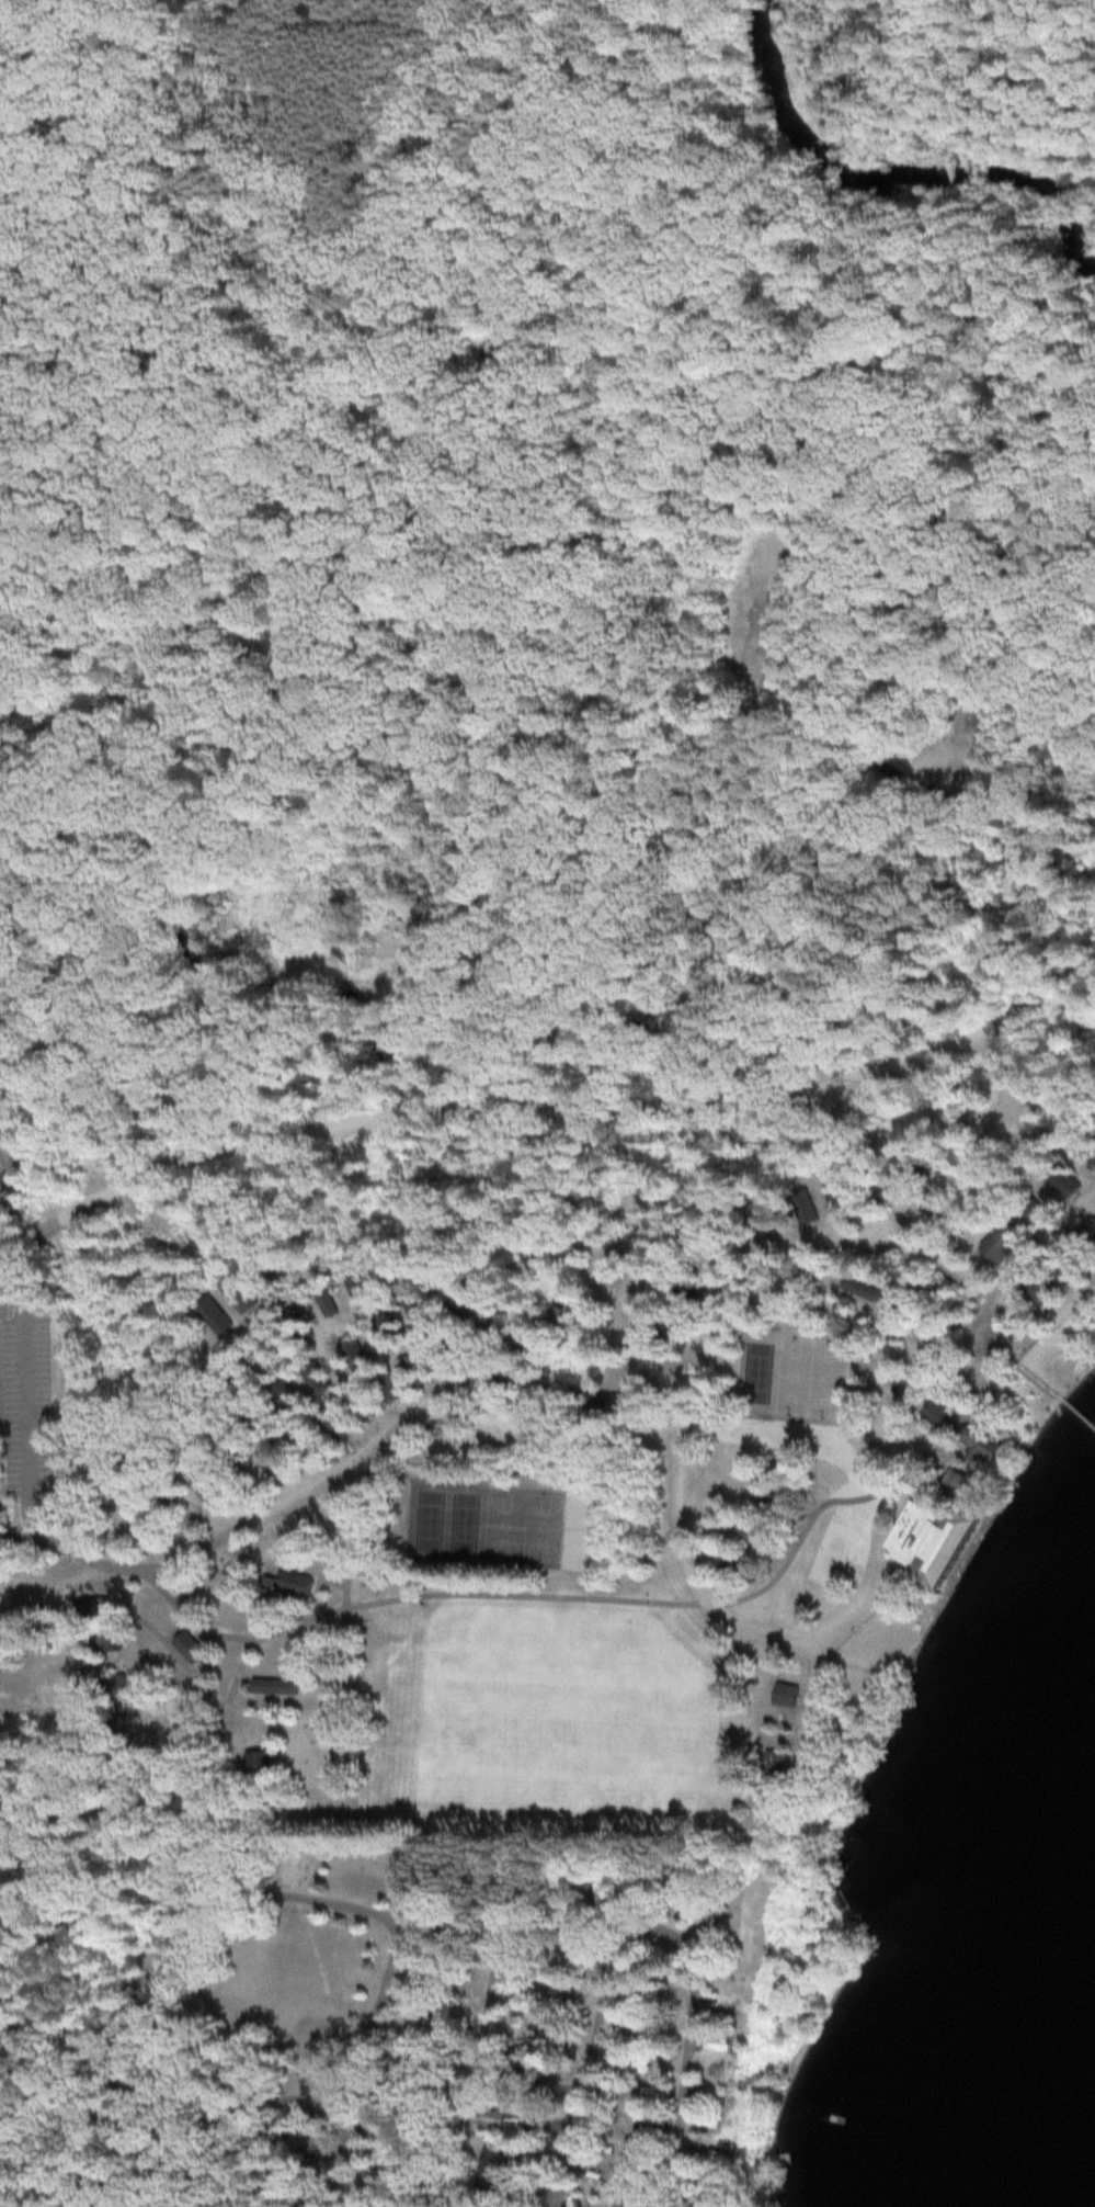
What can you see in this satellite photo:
road: (761, 273)
road: (444, 523)
road: (548, 1097)
building: (1036, 1213)
parking lot: (2, 1214)
road: (7, 1215)
building: (1090, 1233)
building: (1001, 1245)
road: (1, 1268)
building: (263, 1280)
building: (237, 1295)
building: (459, 1302)
building: (414, 1309)
building: (554, 1315)
building: (213, 1316)
building: (296, 1327)
building: (386, 1331)
building: (668, 1337)
building: (262, 1354)
building: (353, 1354)
road: (646, 1365)
building: (414, 1368)
park: (753, 1370)
park: (791, 1372)
park: (824, 1374)
building: (316, 1379)
building: (387, 1387)
building: (911, 1393)
parking lot: (28, 1396)
building: (284, 1397)
road: (528, 1400)
building: (584, 1401)
building: (357, 1402)
building: (940, 1416)
building: (255, 1419)
building: (327, 1422)
road: (23, 1425)
building: (225, 1439)
building: (301, 1444)
building: (980, 1444)
building: (765, 1504)
park: (426, 1515)
park: (463, 1516)
park: (503, 1520)
park: (543, 1524)
park: (580, 1526)
building: (931, 1531)
road: (880, 1532)
road: (350, 1537)
road: (193, 1554)
building: (739, 1566)
road: (56, 1583)
building: (295, 1584)
building: (207, 1594)
road: (594, 1598)
building: (95, 1609)
building: (189, 1648)
building: (274, 1687)
building: (785, 1696)
building: (258, 1765)
building: (773, 1768)
park: (295, 1868)
park: (358, 1881)
road: (109, 1898)
road: (429, 1920)
park: (293, 1984)
park: (402, 2024)
road: (362, 2062)
road: (475, 2064)
road: (590, 2067)
building: (712, 2072)
road: (720, 2083)
road: (246, 2104)
parking lot: (552, 2151)
road: (520, 2166)
building: (494, 2169)
road: (527, 2169)
road: (613, 2192)
parking lot: (541, 2194)

